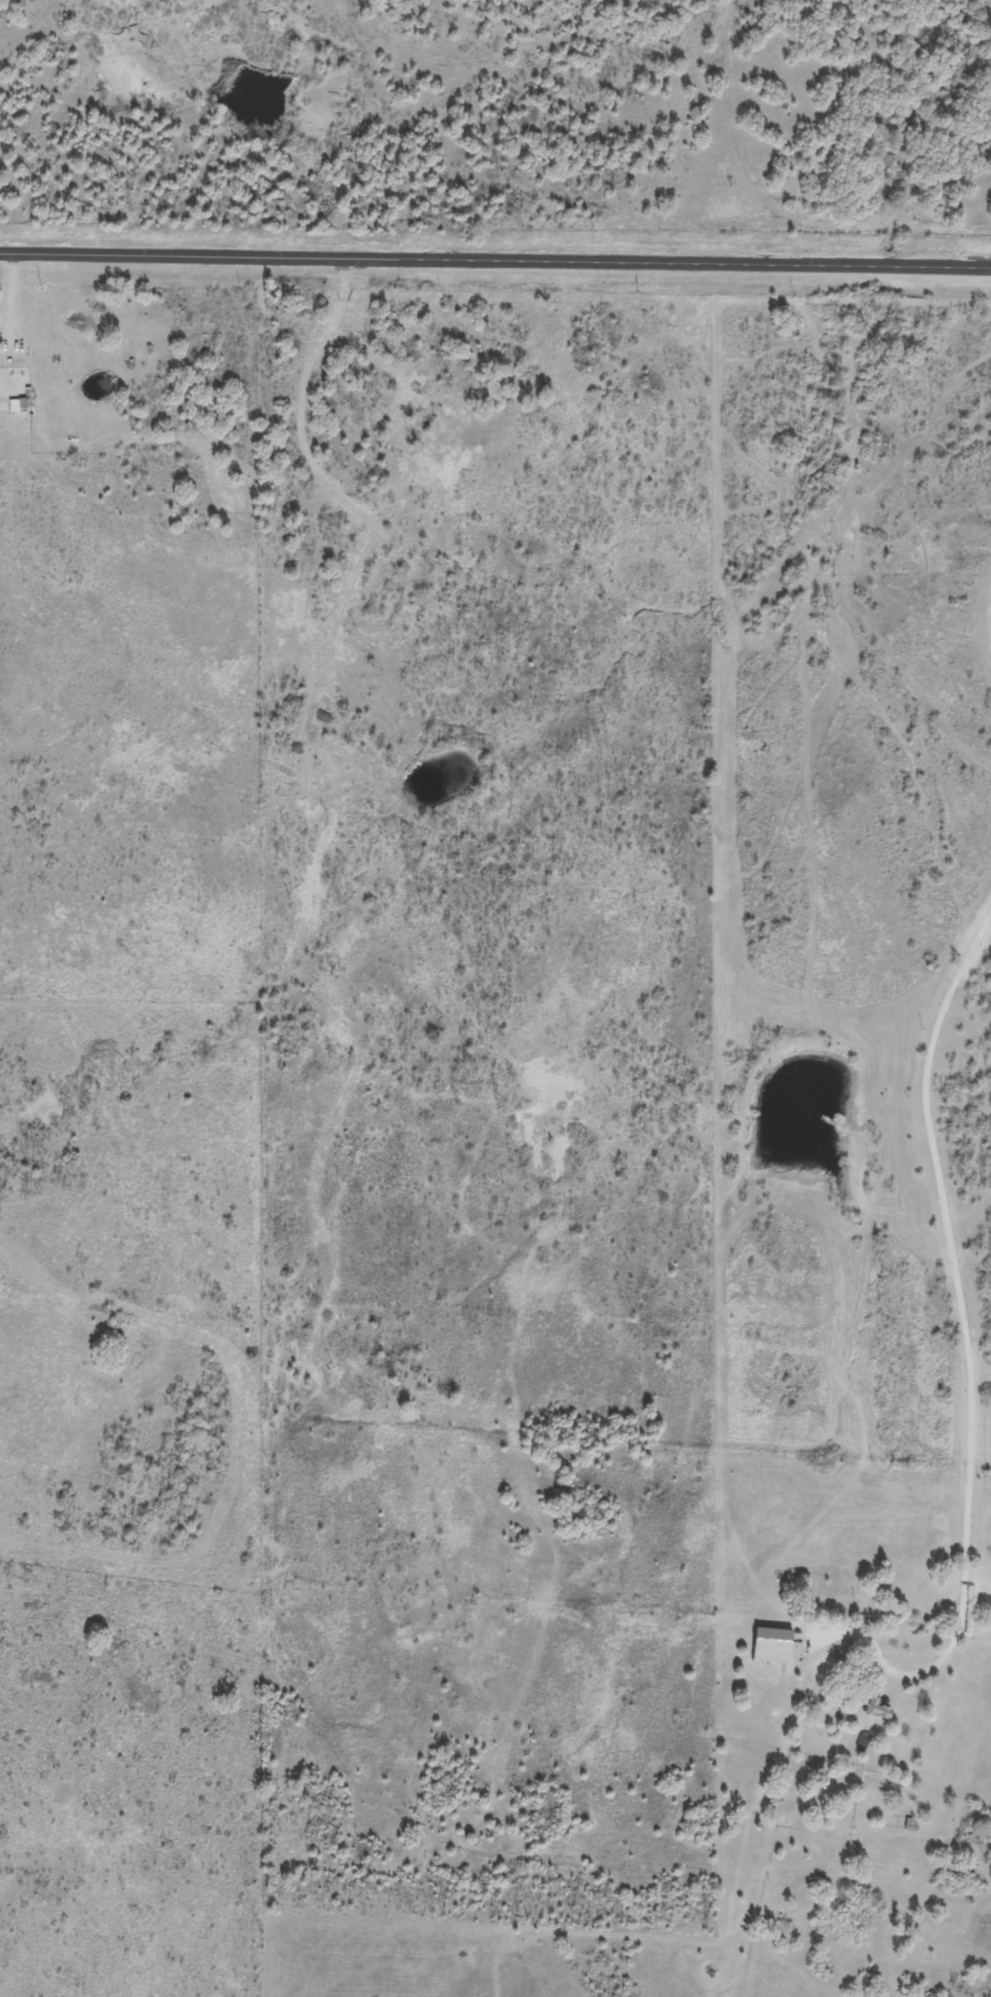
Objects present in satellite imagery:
road: (495, 259)
building: (774, 1645)
building: (880, 1708)

